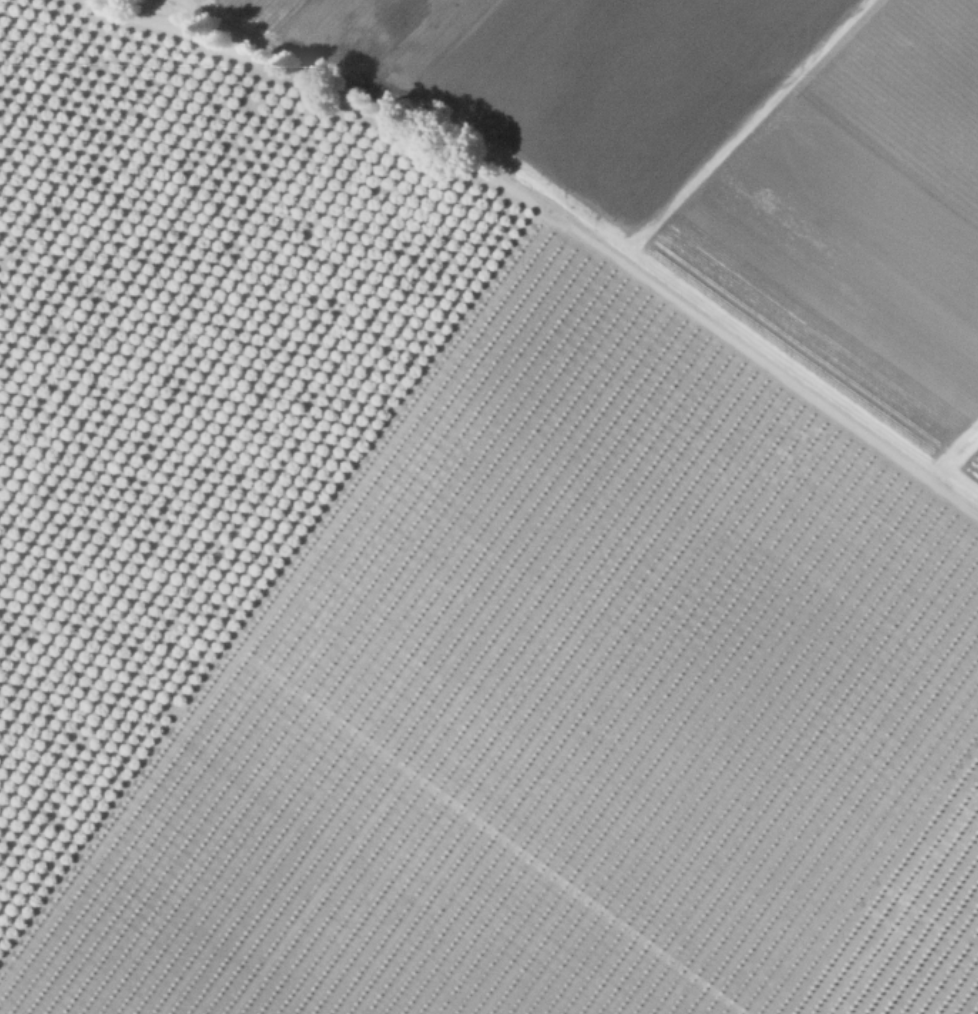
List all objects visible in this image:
crop: (622, 562)

